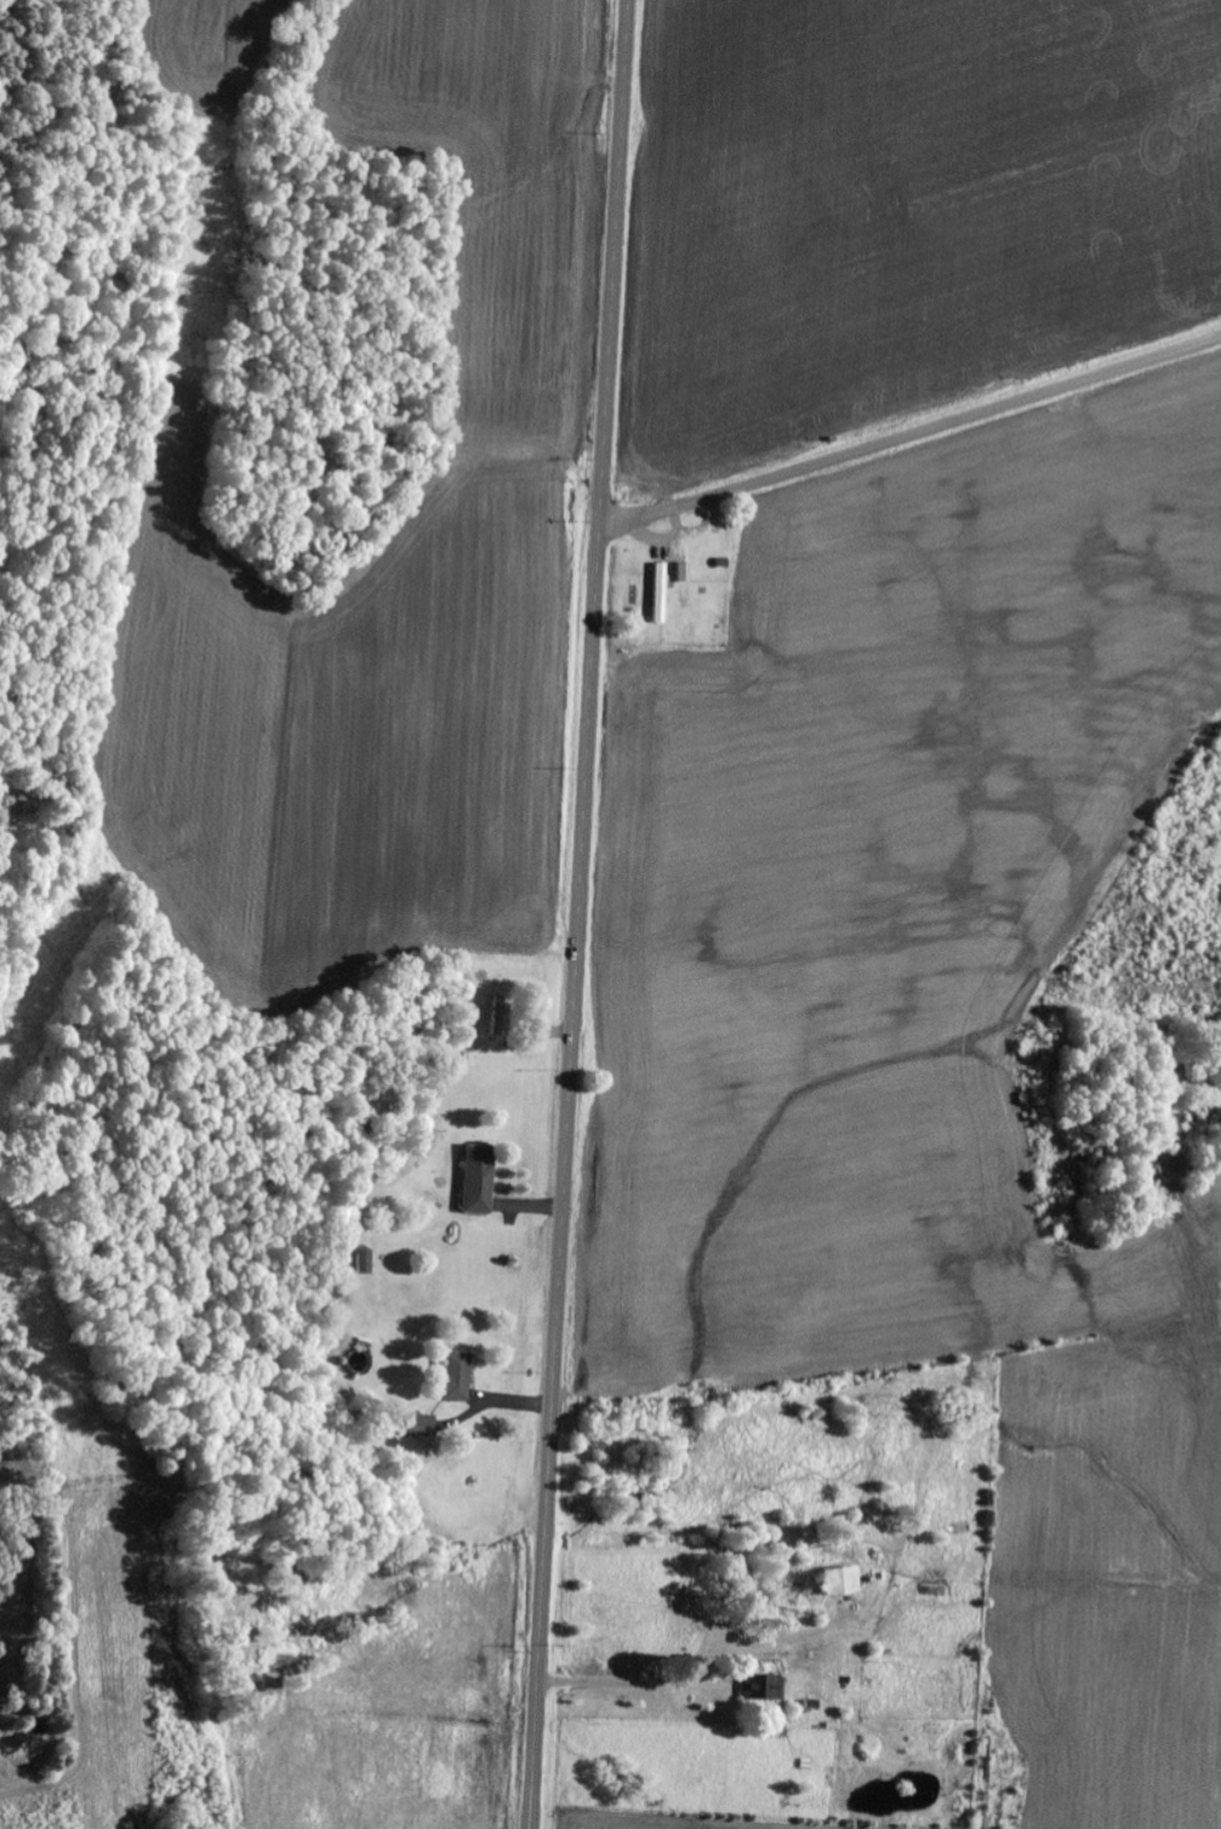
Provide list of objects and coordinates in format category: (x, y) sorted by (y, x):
road: (911, 438)
building: (685, 574)
building: (661, 593)
road: (580, 913)
building: (502, 1015)
building: (480, 1180)
building: (366, 1263)
building: (458, 1378)
building: (423, 1428)
building: (843, 1583)
building: (764, 1688)

